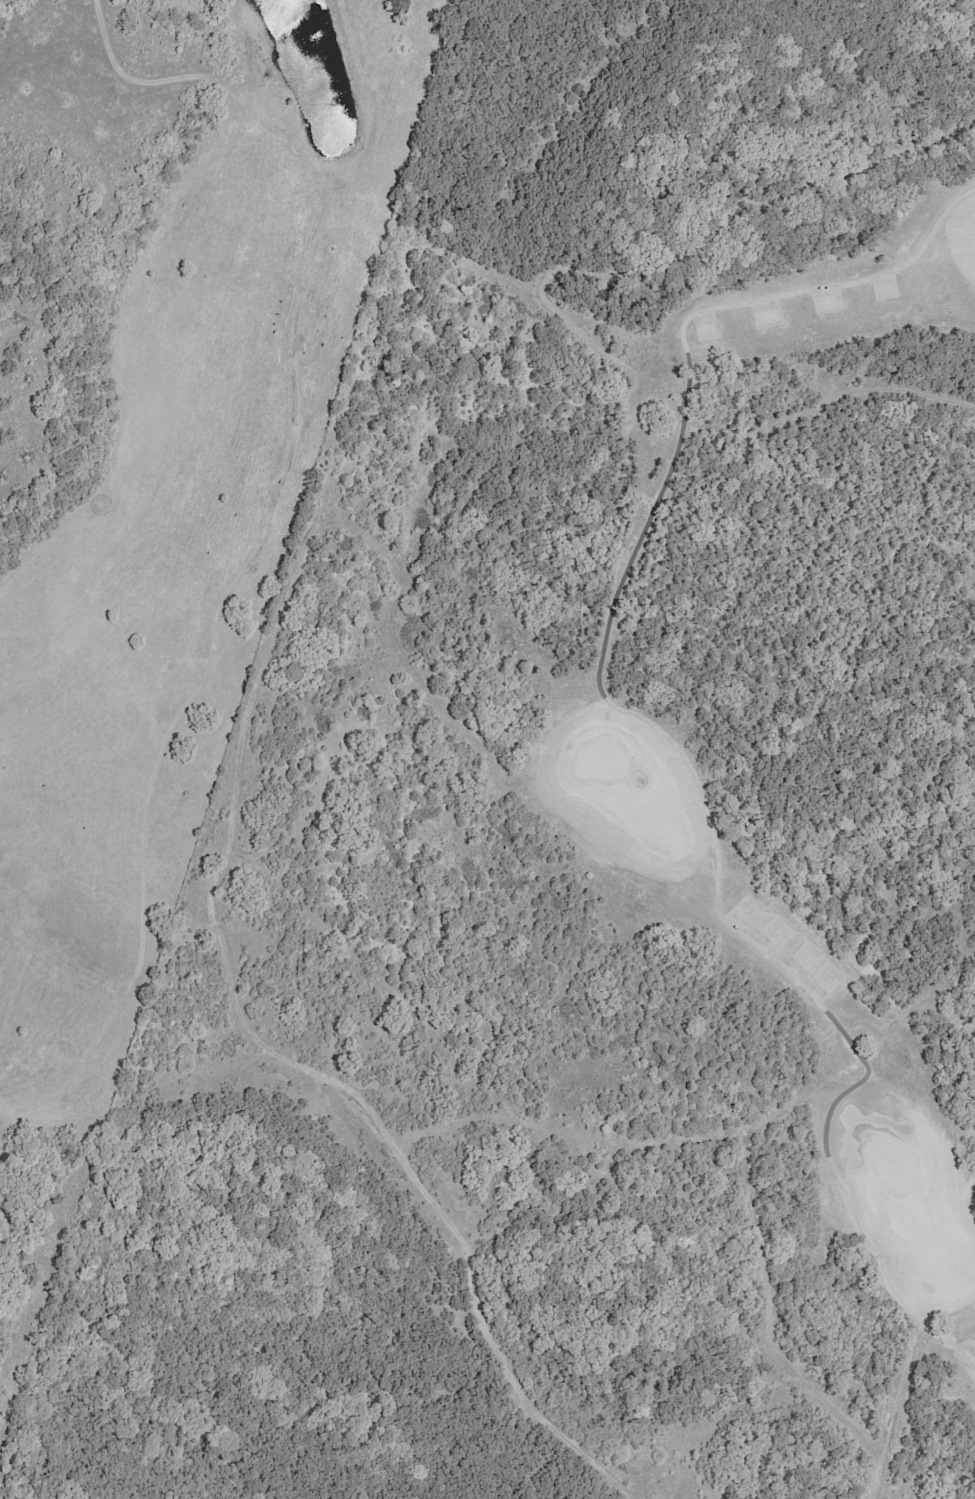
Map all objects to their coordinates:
road: (658, 729)
road: (972, 1024)

